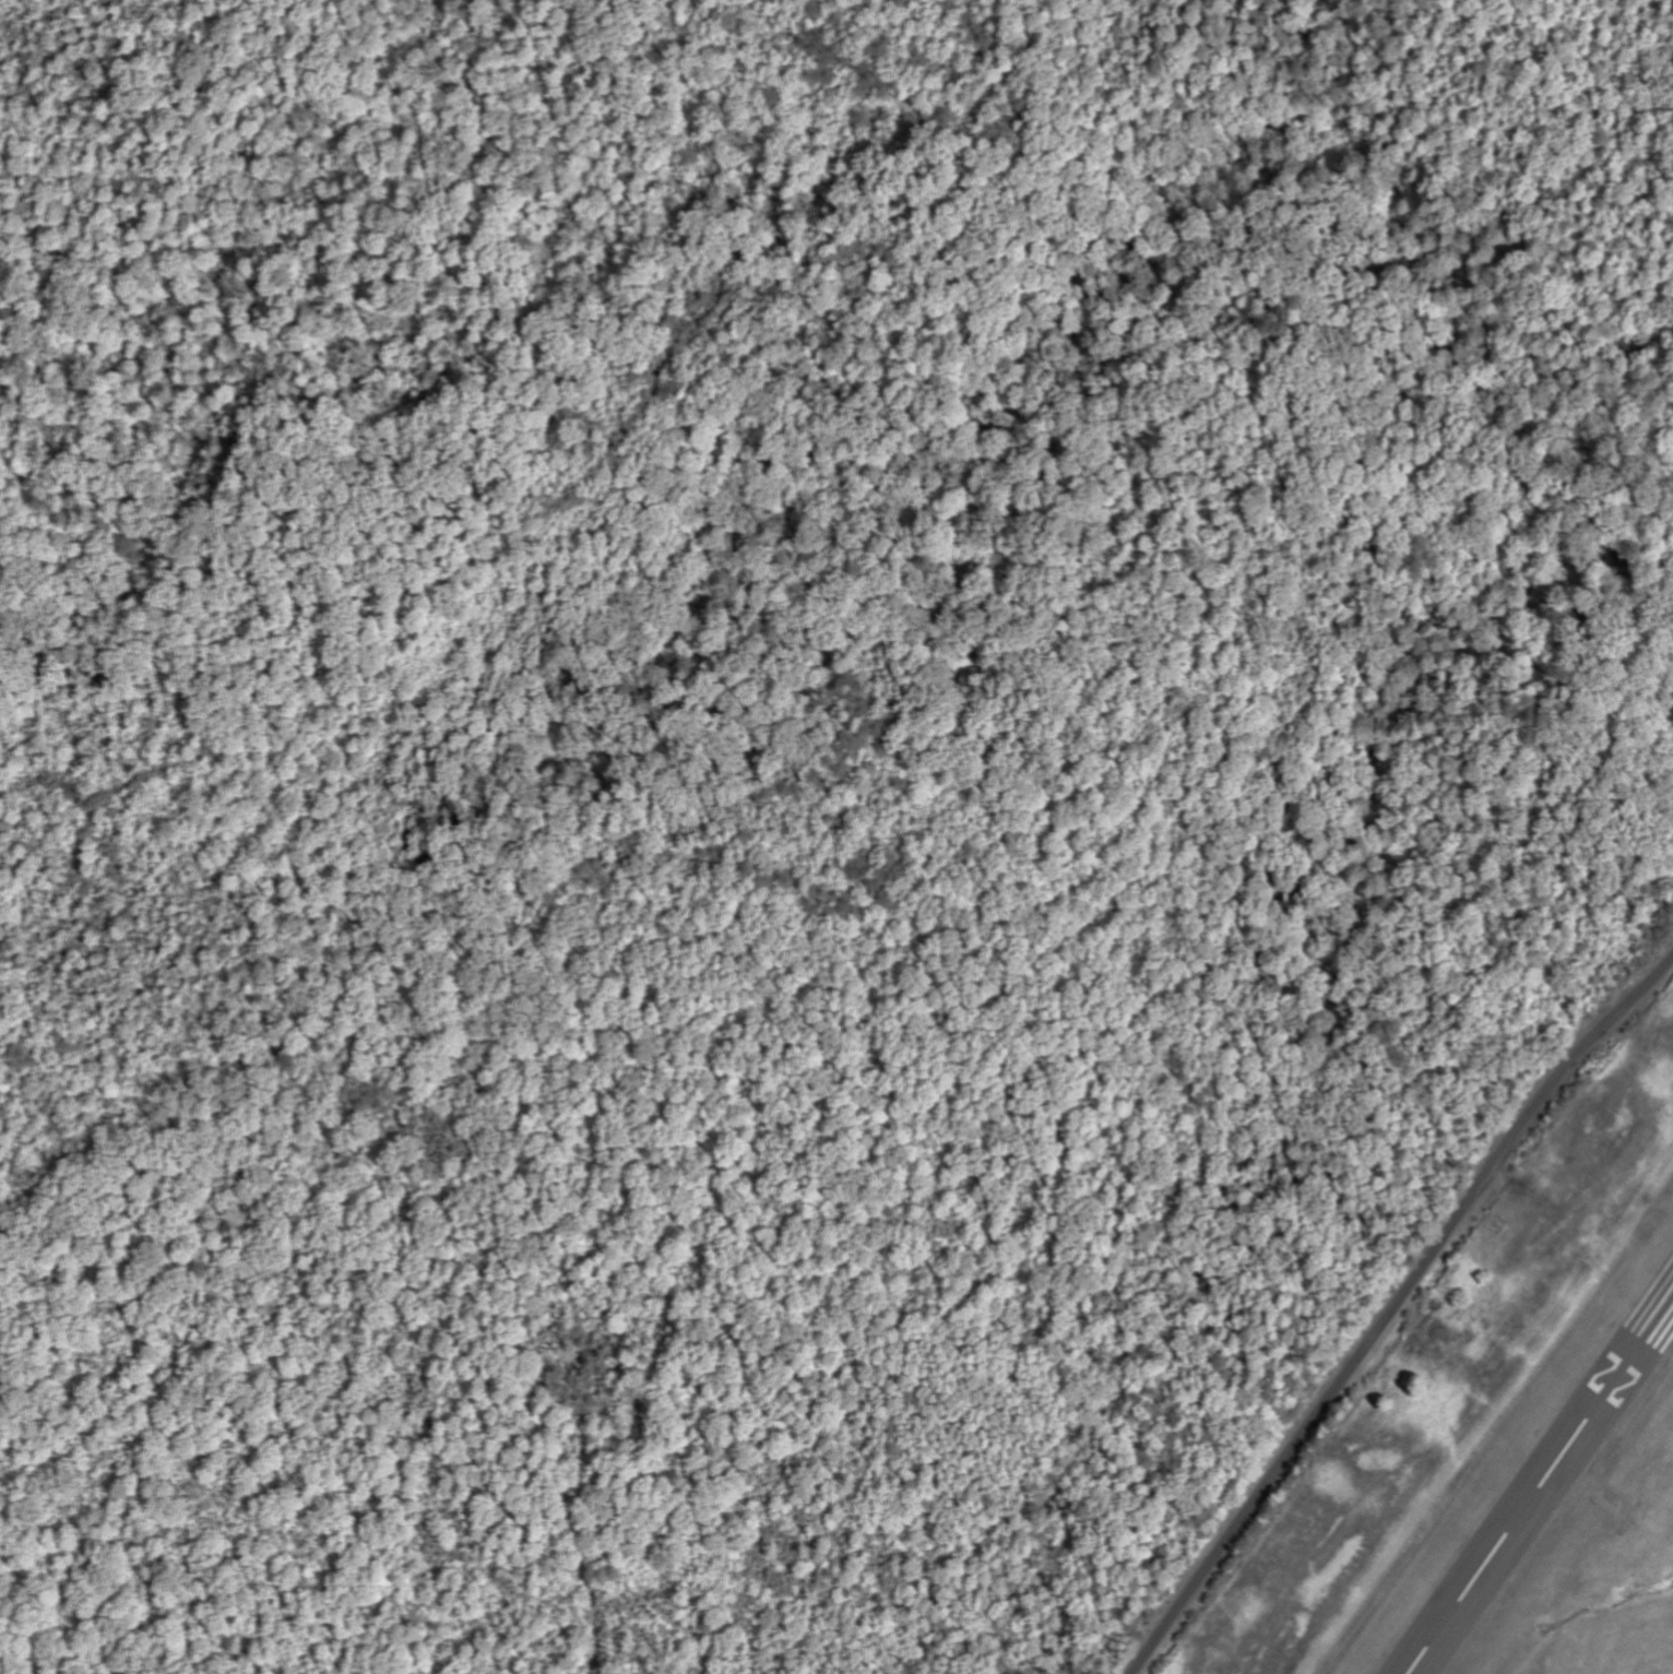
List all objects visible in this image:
road: (1393, 1307)
airport: (1499, 1439)
airport runway: (1542, 1487)

